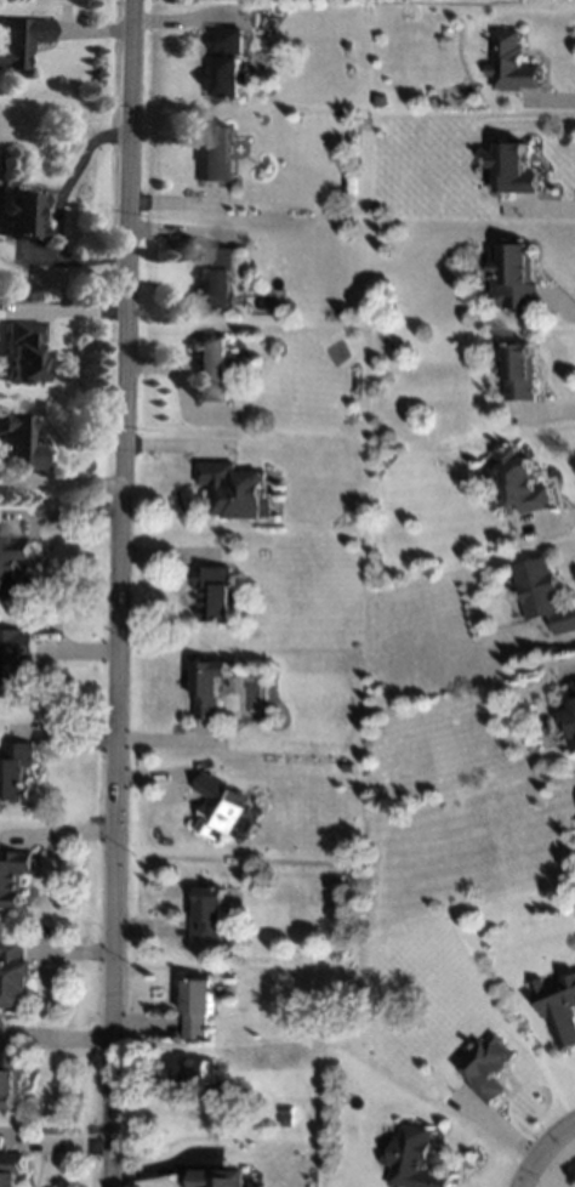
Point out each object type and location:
building: (18, 40)
building: (228, 63)
building: (511, 64)
building: (217, 154)
building: (513, 169)
building: (21, 215)
building: (513, 276)
building: (218, 279)
building: (23, 351)
building: (215, 365)
building: (518, 373)
building: (17, 443)
building: (520, 482)
building: (235, 490)
building: (15, 564)
building: (216, 592)
road: (121, 593)
building: (541, 595)
building: (15, 660)
building: (209, 687)
building: (570, 716)
building: (530, 746)
building: (347, 767)
building: (17, 772)
building: (217, 806)
building: (335, 878)
building: (13, 879)
building: (206, 913)
building: (15, 973)
building: (198, 1009)
building: (558, 1009)
building: (486, 1067)
building: (192, 1070)
building: (11, 1077)
building: (285, 1111)
building: (285, 1121)
road: (540, 1149)
building: (412, 1159)
building: (11, 1169)
building: (214, 1179)

